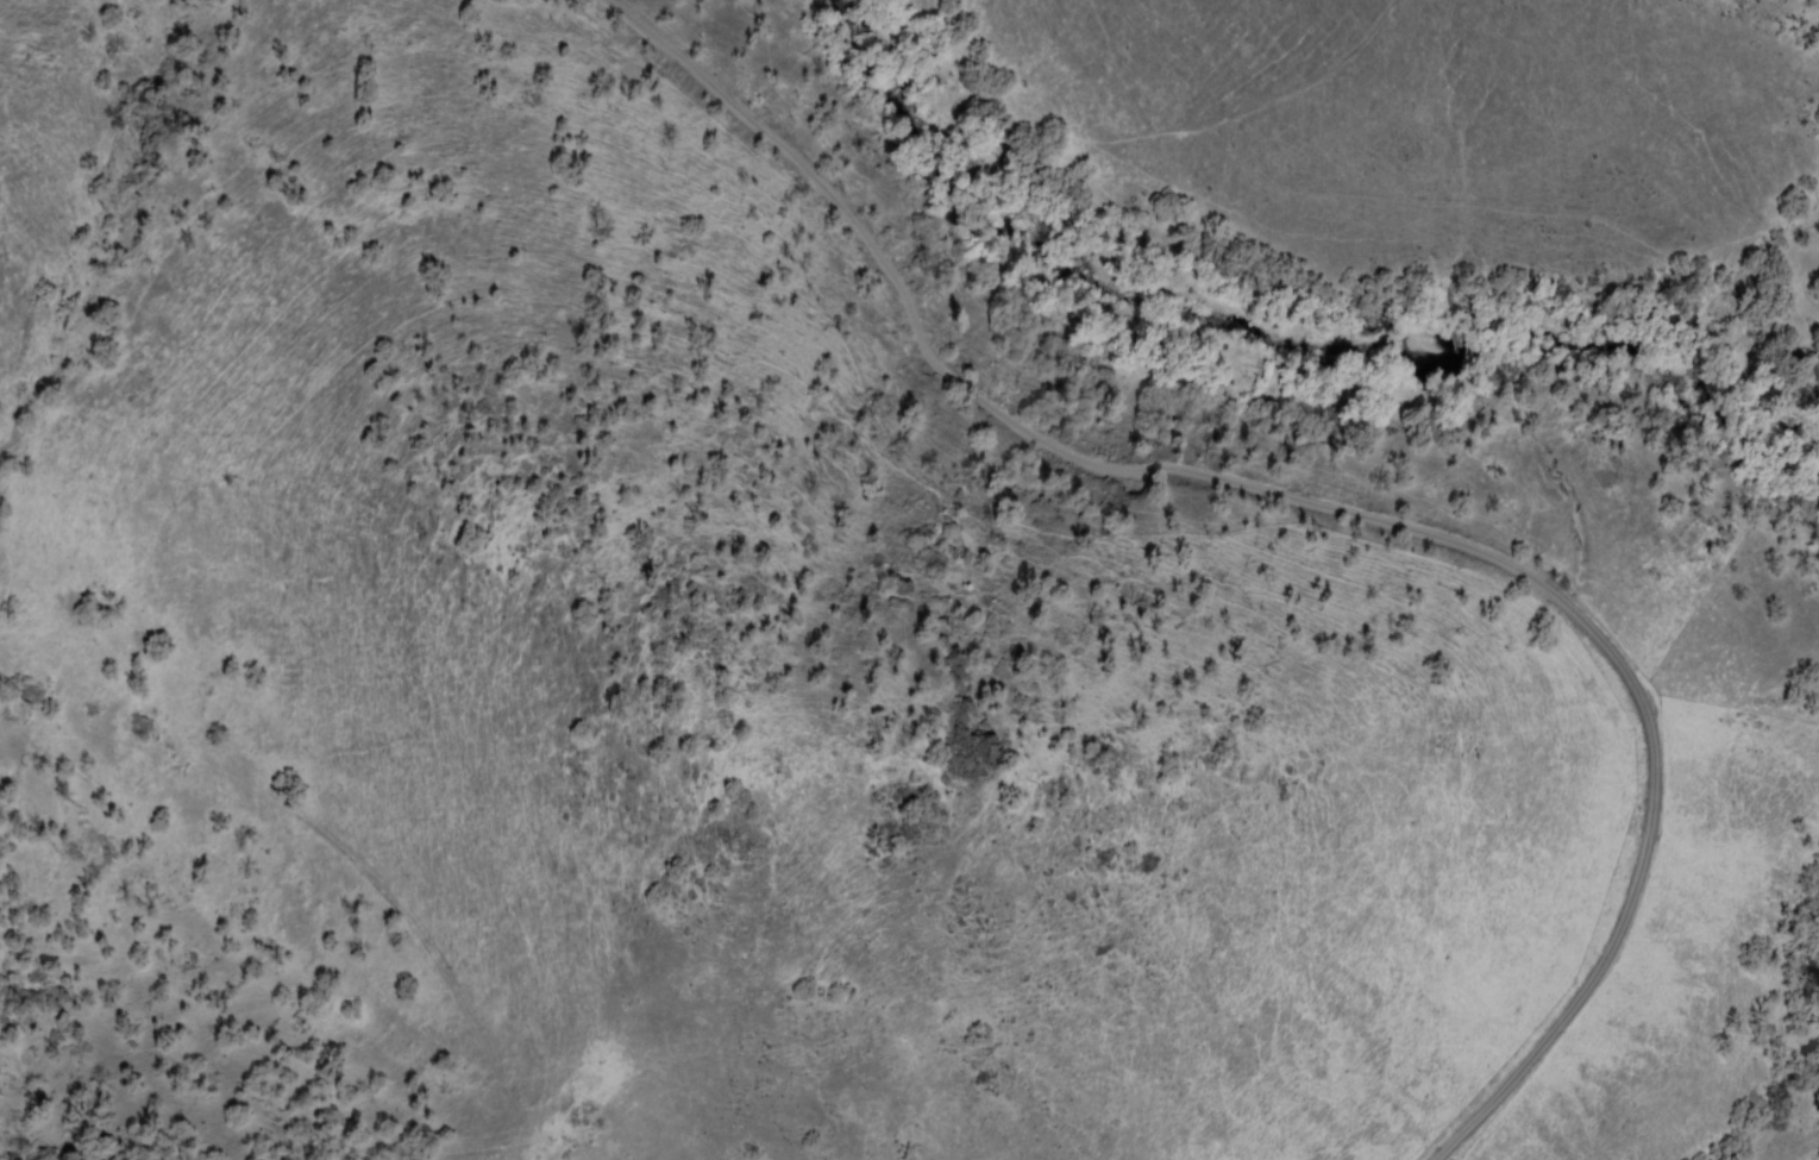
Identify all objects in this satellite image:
road: (1299, 508)

